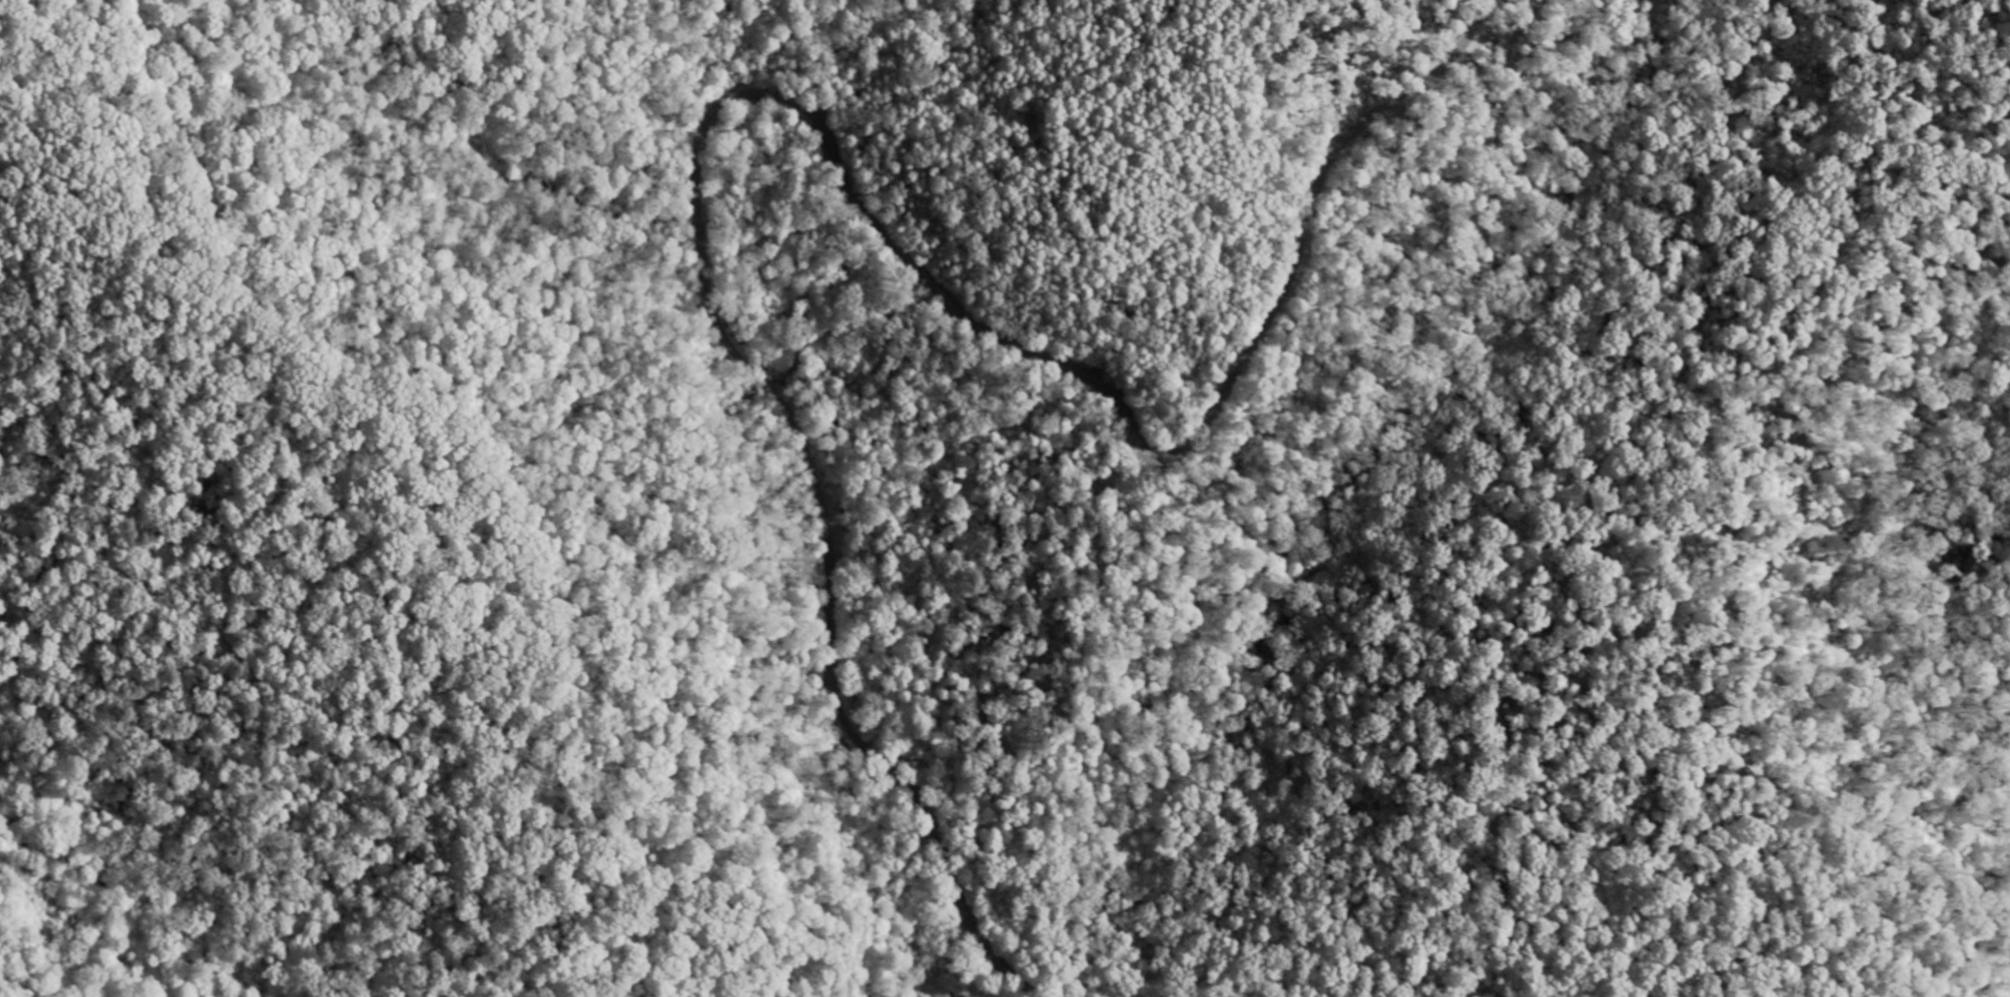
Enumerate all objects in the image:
road: (810, 113)

